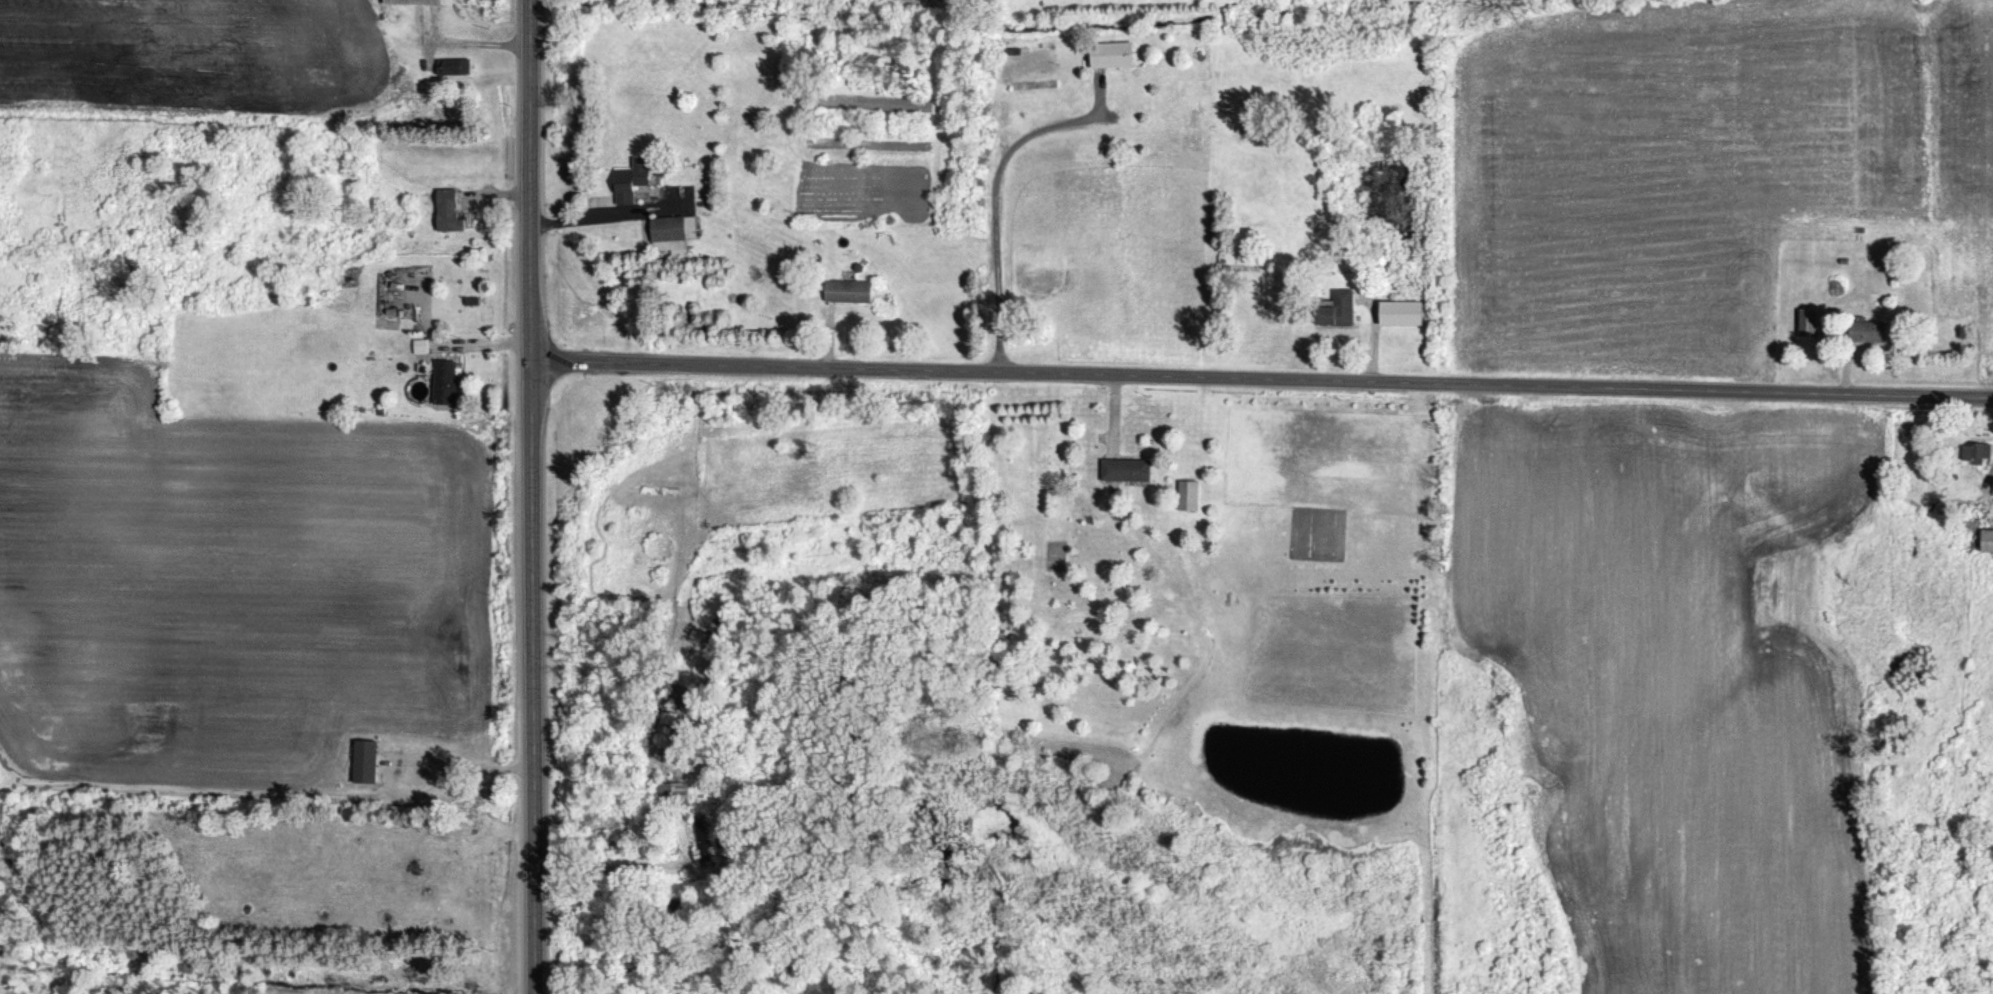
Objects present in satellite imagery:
building: (417, 1)
building: (1112, 54)
building: (453, 65)
building: (633, 179)
building: (449, 210)
road: (601, 214)
building: (672, 232)
building: (850, 290)
building: (1338, 308)
building: (1404, 311)
building: (1809, 322)
building: (421, 345)
road: (1261, 376)
building: (447, 380)
building: (1978, 451)
building: (1127, 469)
building: (1189, 494)
road: (530, 497)
building: (1988, 539)
building: (366, 760)
building: (663, 792)

